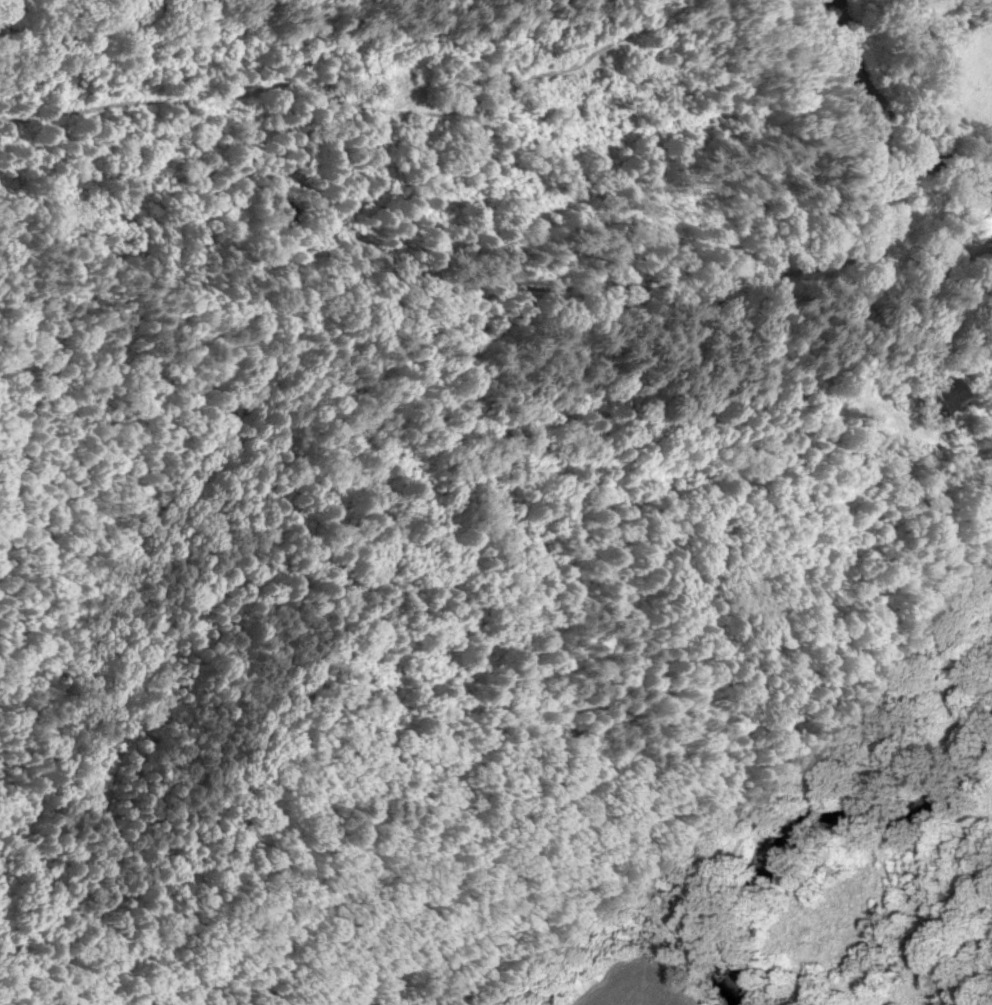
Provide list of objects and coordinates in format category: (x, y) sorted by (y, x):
river: (880, 120)
building: (946, 399)
river: (804, 822)

